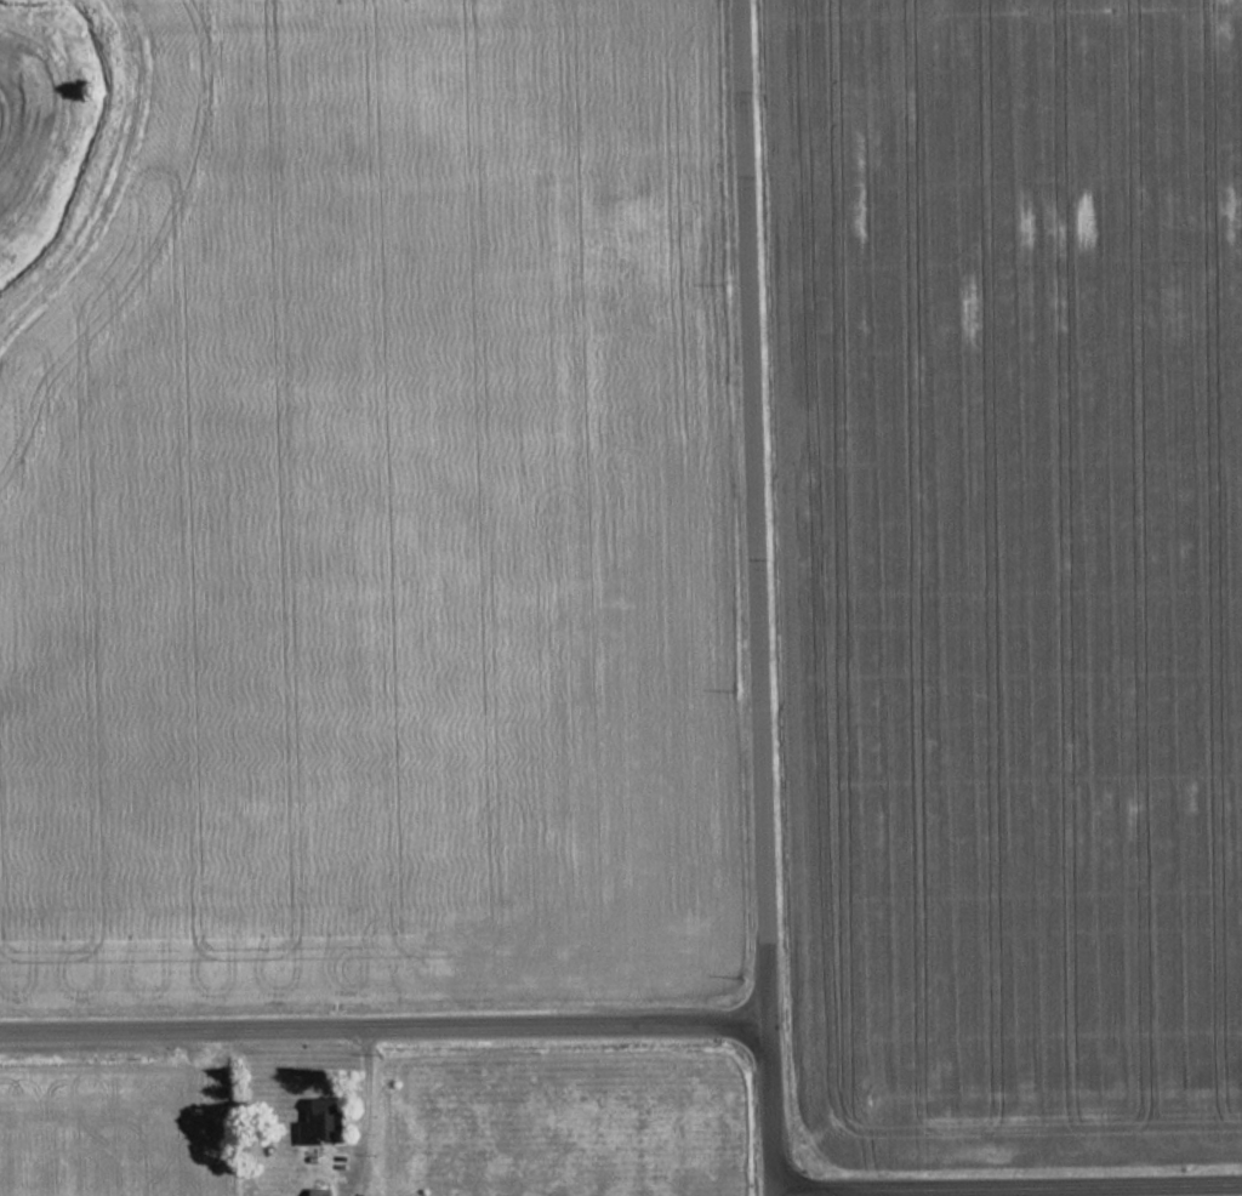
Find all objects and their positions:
crop: (19, 119)
crop: (372, 522)
crop: (1008, 575)
road: (752, 598)
road: (382, 1029)
crop: (113, 1135)
road: (1007, 1191)

